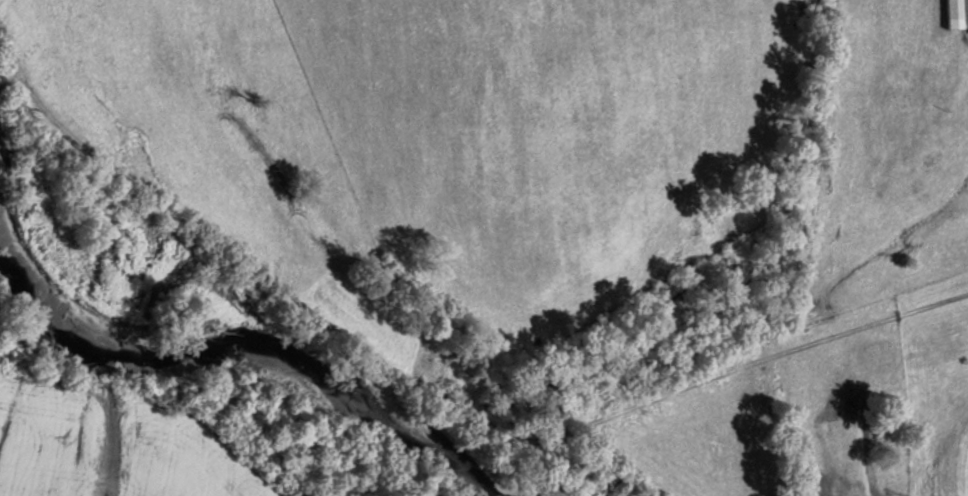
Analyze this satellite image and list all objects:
building: (955, 14)

